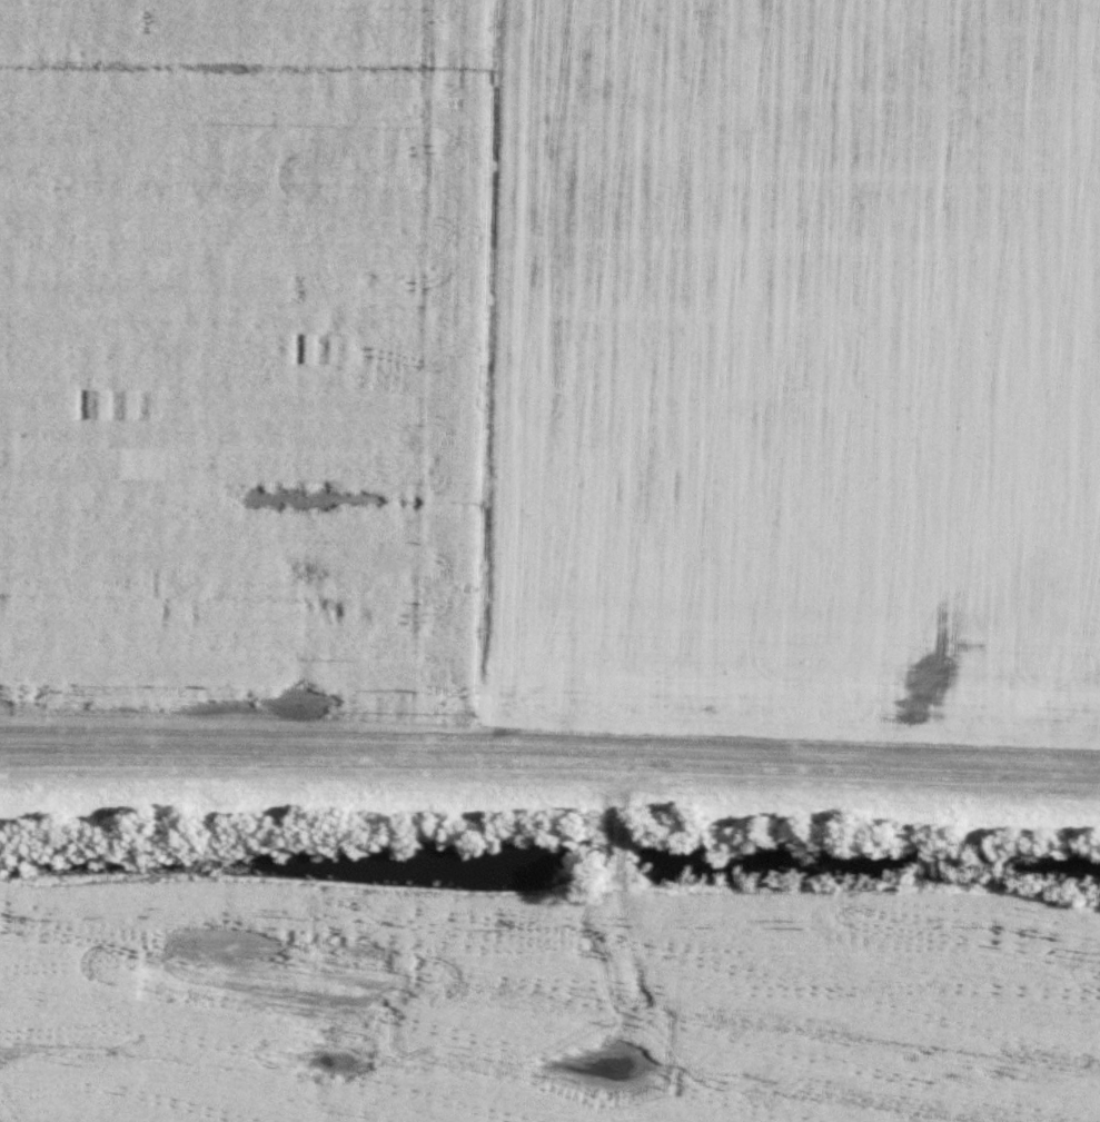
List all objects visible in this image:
crop: (556, 351)

